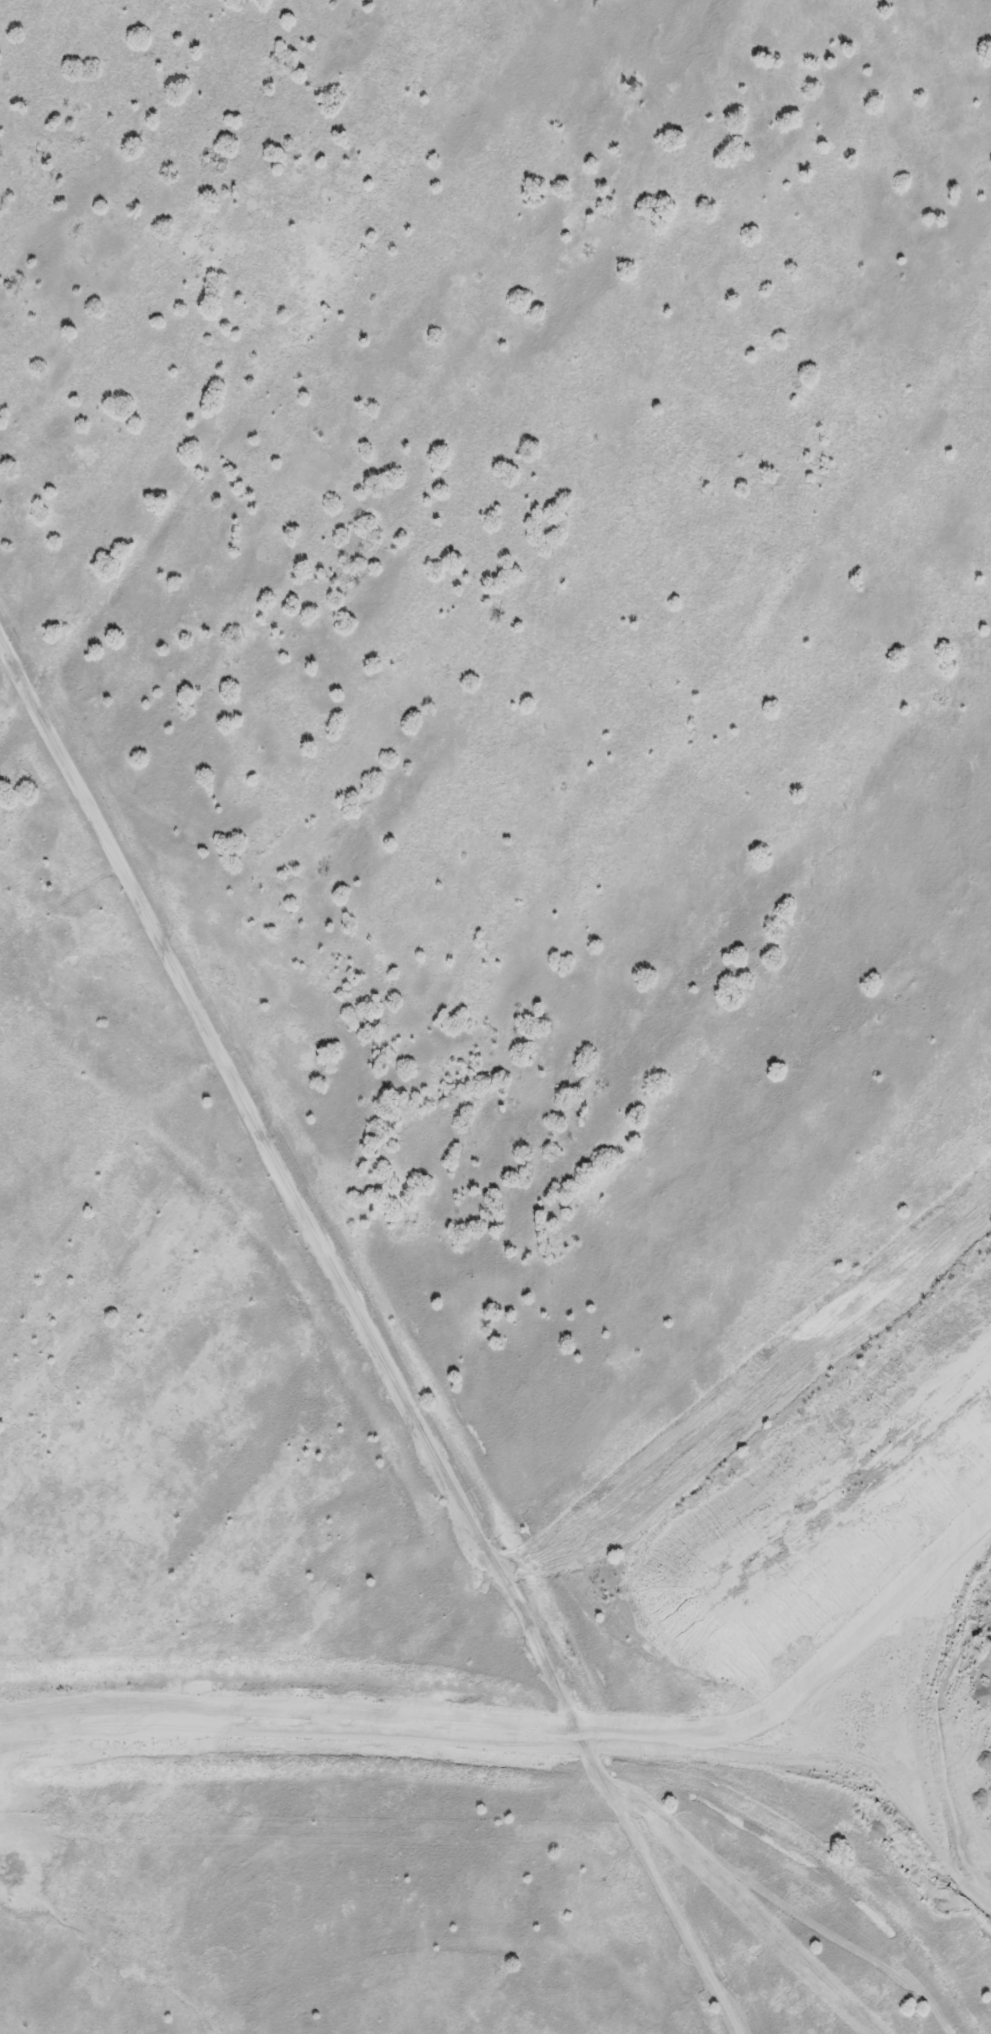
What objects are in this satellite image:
quarry: (494, 1015)

